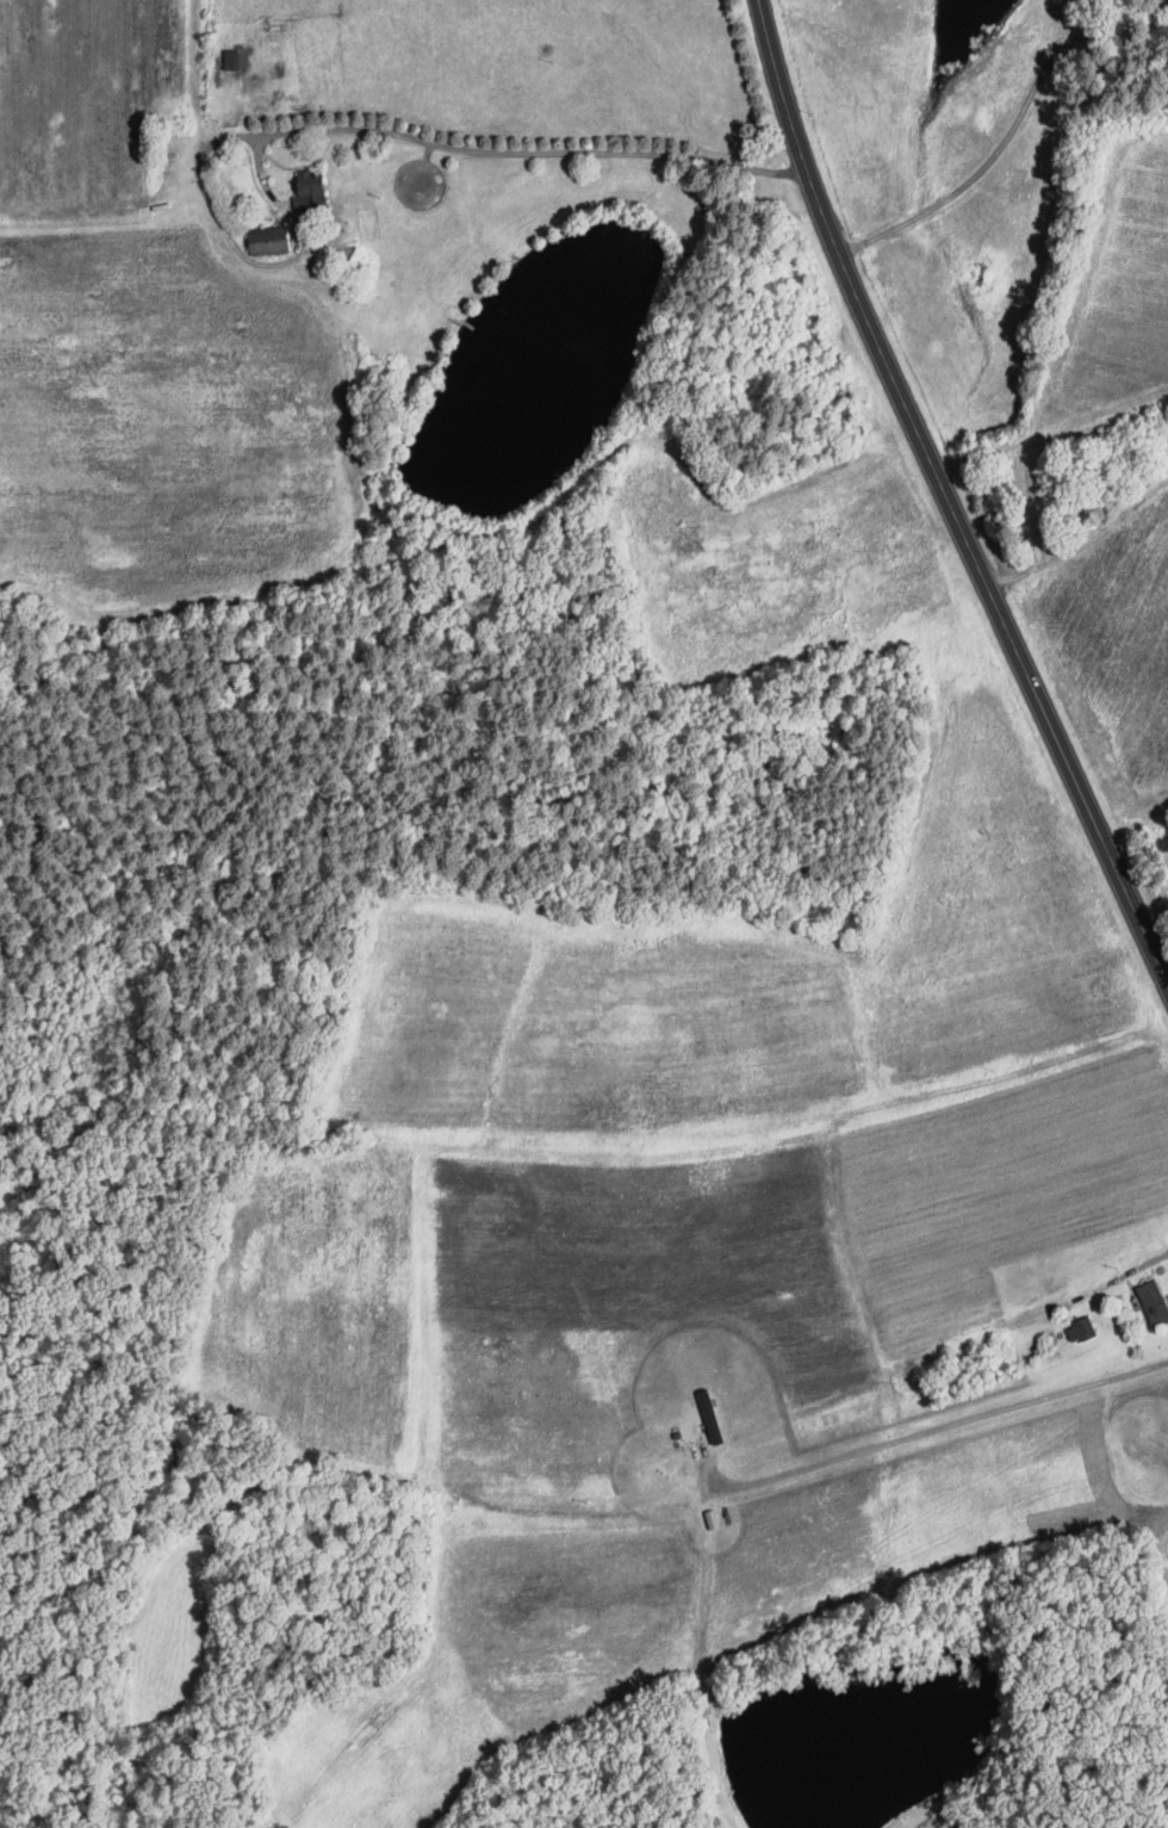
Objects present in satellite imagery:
building: (232, 57)
road: (350, 125)
road: (1011, 128)
building: (312, 187)
building: (271, 238)
road: (946, 497)
building: (1155, 1301)
building: (1082, 1328)
building: (713, 1414)
road: (943, 1424)
building: (713, 1517)

